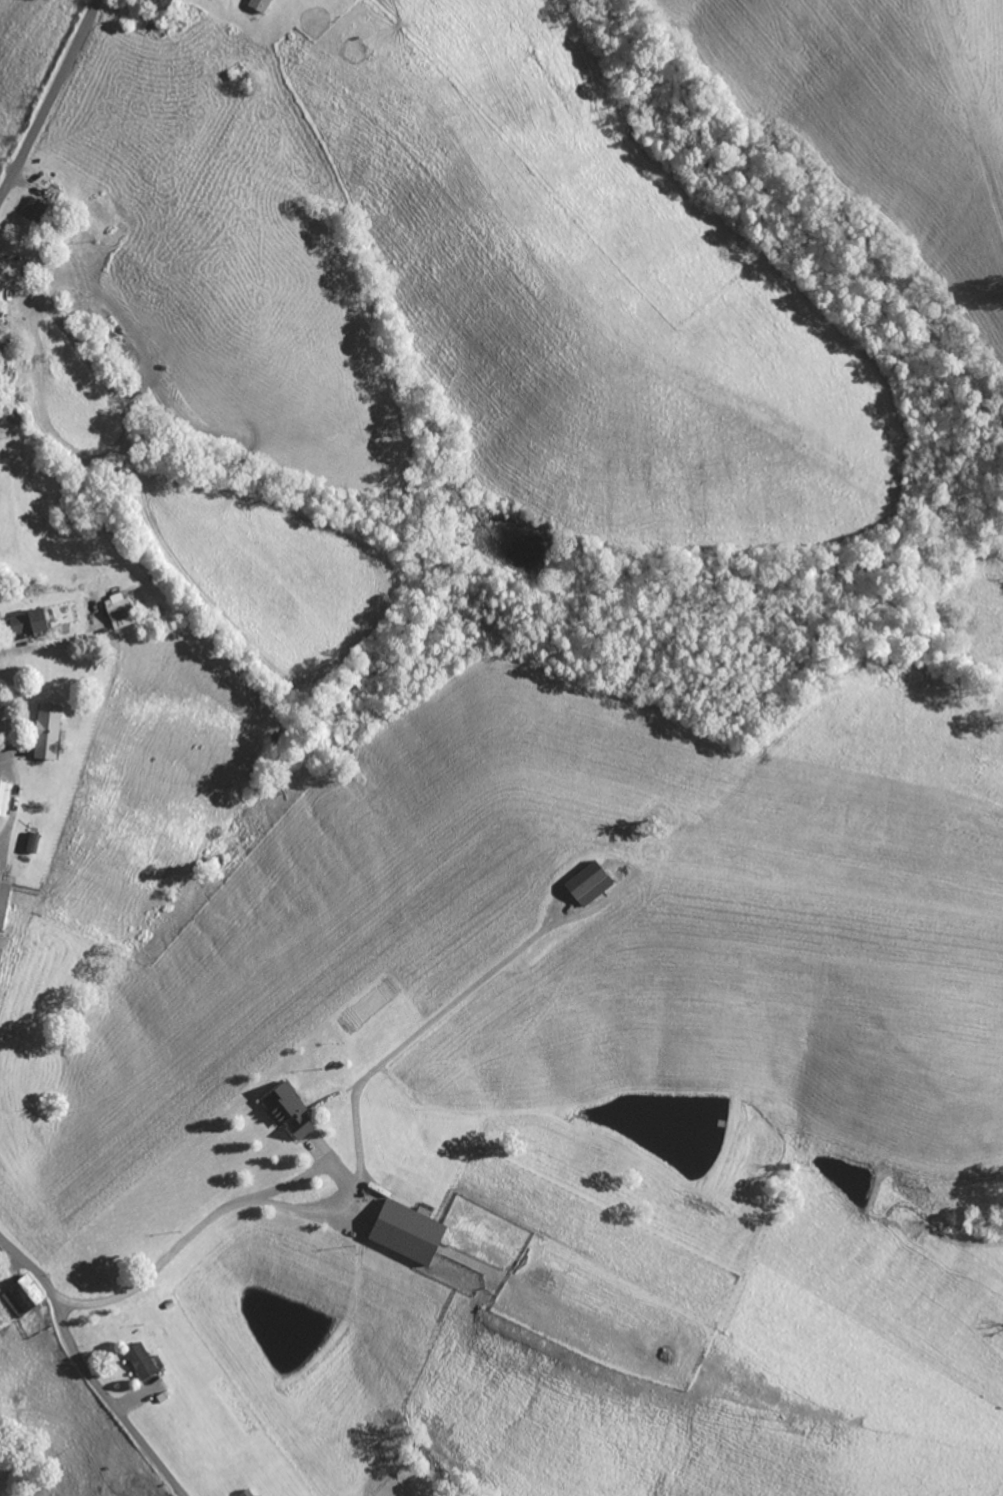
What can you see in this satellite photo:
building: (255, 5)
road: (50, 98)
building: (28, 209)
building: (0, 302)
building: (114, 611)
building: (23, 622)
building: (42, 732)
building: (3, 798)
building: (28, 843)
building: (583, 884)
building: (2, 901)
building: (282, 1111)
building: (401, 1232)
road: (182, 1237)
building: (18, 1296)
building: (136, 1362)
road: (84, 1370)
building: (242, 1492)

